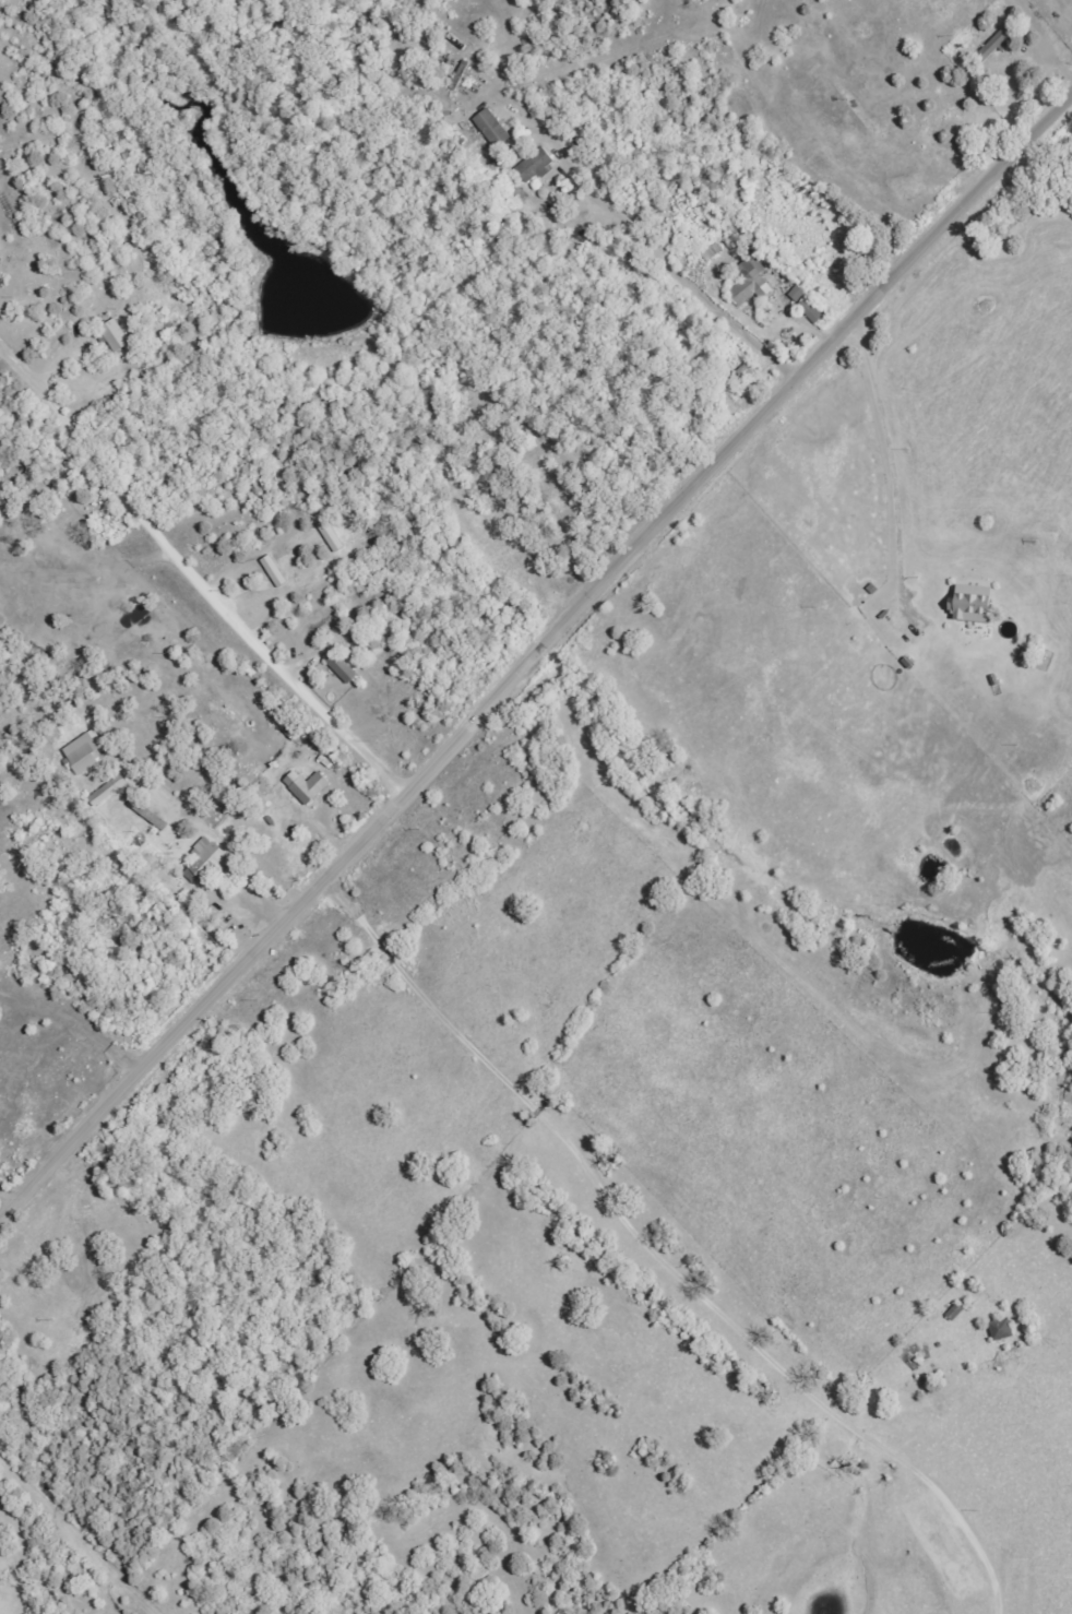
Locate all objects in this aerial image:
building: (994, 45)
road: (850, 111)
road: (186, 116)
building: (493, 127)
building: (537, 164)
building: (713, 251)
building: (751, 281)
building: (799, 293)
road: (807, 298)
road: (464, 305)
building: (811, 310)
building: (117, 335)
road: (194, 577)
building: (975, 604)
road: (533, 654)
building: (342, 666)
road: (757, 678)
building: (85, 752)
building: (309, 785)
building: (109, 790)
building: (207, 859)
building: (1002, 1328)

